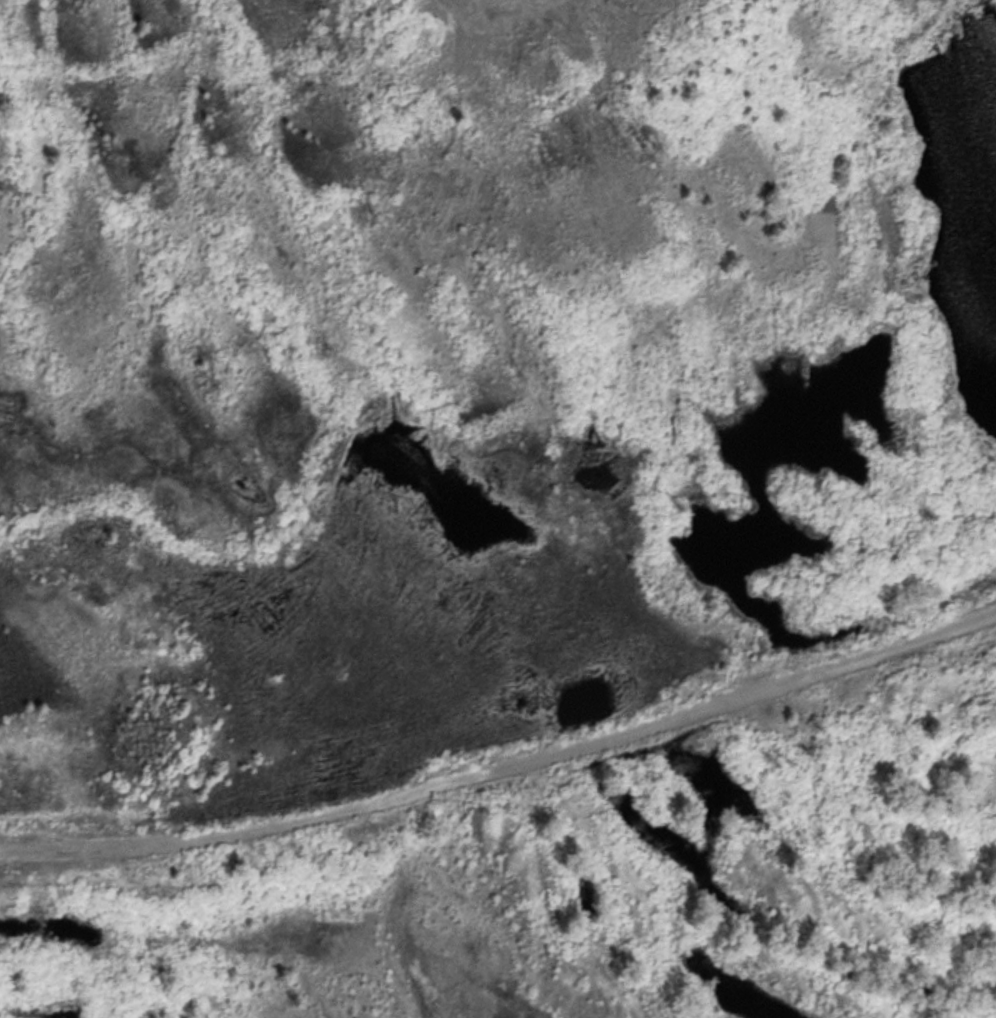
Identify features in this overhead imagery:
road: (505, 761)

